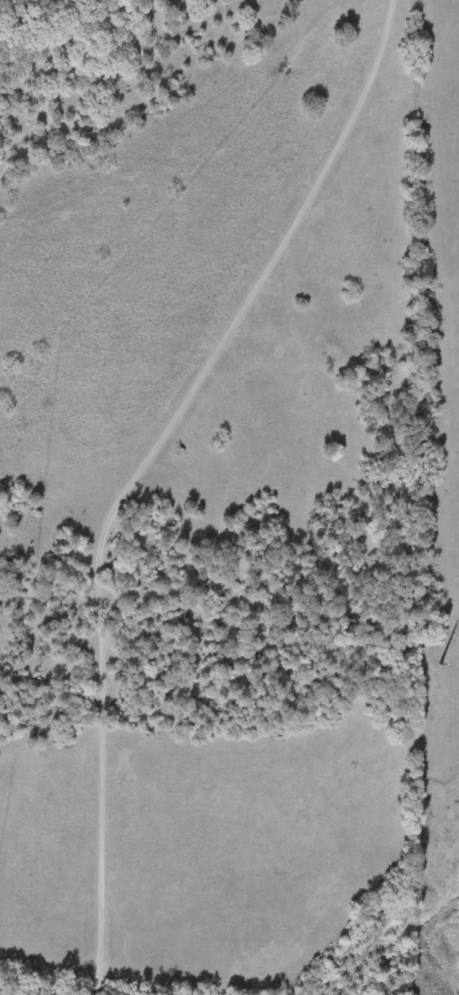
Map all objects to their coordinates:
road: (132, 469)
power tower: (432, 650)

